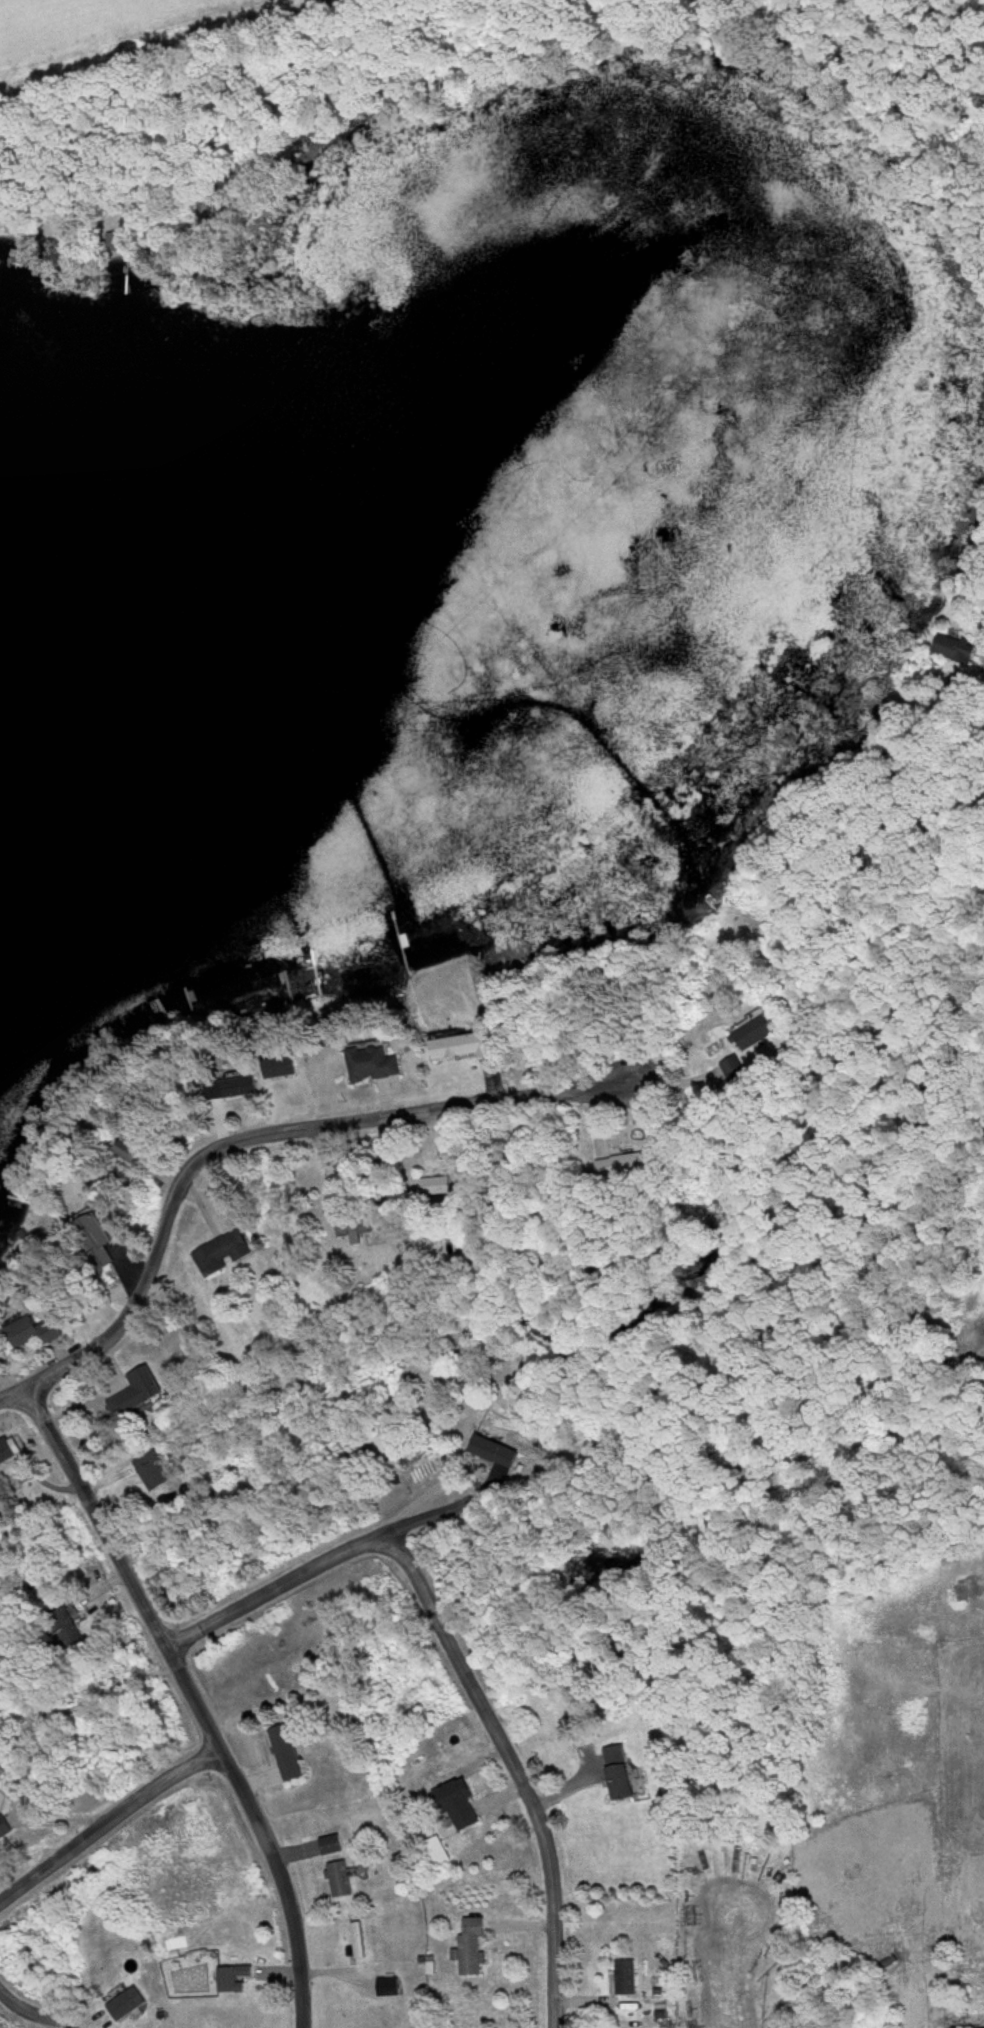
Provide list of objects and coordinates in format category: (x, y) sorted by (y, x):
road: (861, 52)
road: (184, 85)
building: (118, 243)
building: (955, 650)
road: (862, 858)
building: (756, 1033)
building: (458, 1046)
building: (376, 1063)
building: (284, 1068)
building: (734, 1069)
building: (242, 1086)
road: (898, 1105)
road: (256, 1140)
building: (134, 1153)
building: (622, 1166)
building: (436, 1186)
building: (365, 1223)
building: (97, 1238)
building: (223, 1253)
building: (37, 1332)
building: (140, 1392)
building: (9, 1452)
building: (498, 1452)
building: (152, 1465)
road: (325, 1571)
building: (67, 1627)
road: (194, 1698)
building: (291, 1755)
building: (3, 1771)
road: (517, 1771)
building: (620, 1773)
building: (459, 1804)
road: (106, 1825)
building: (6, 1828)
building: (334, 1845)
building: (434, 1854)
building: (342, 1880)
building: (360, 1941)
building: (475, 1948)
building: (627, 1978)
building: (235, 1979)
building: (390, 1988)
building: (126, 2006)
road: (43, 2020)

